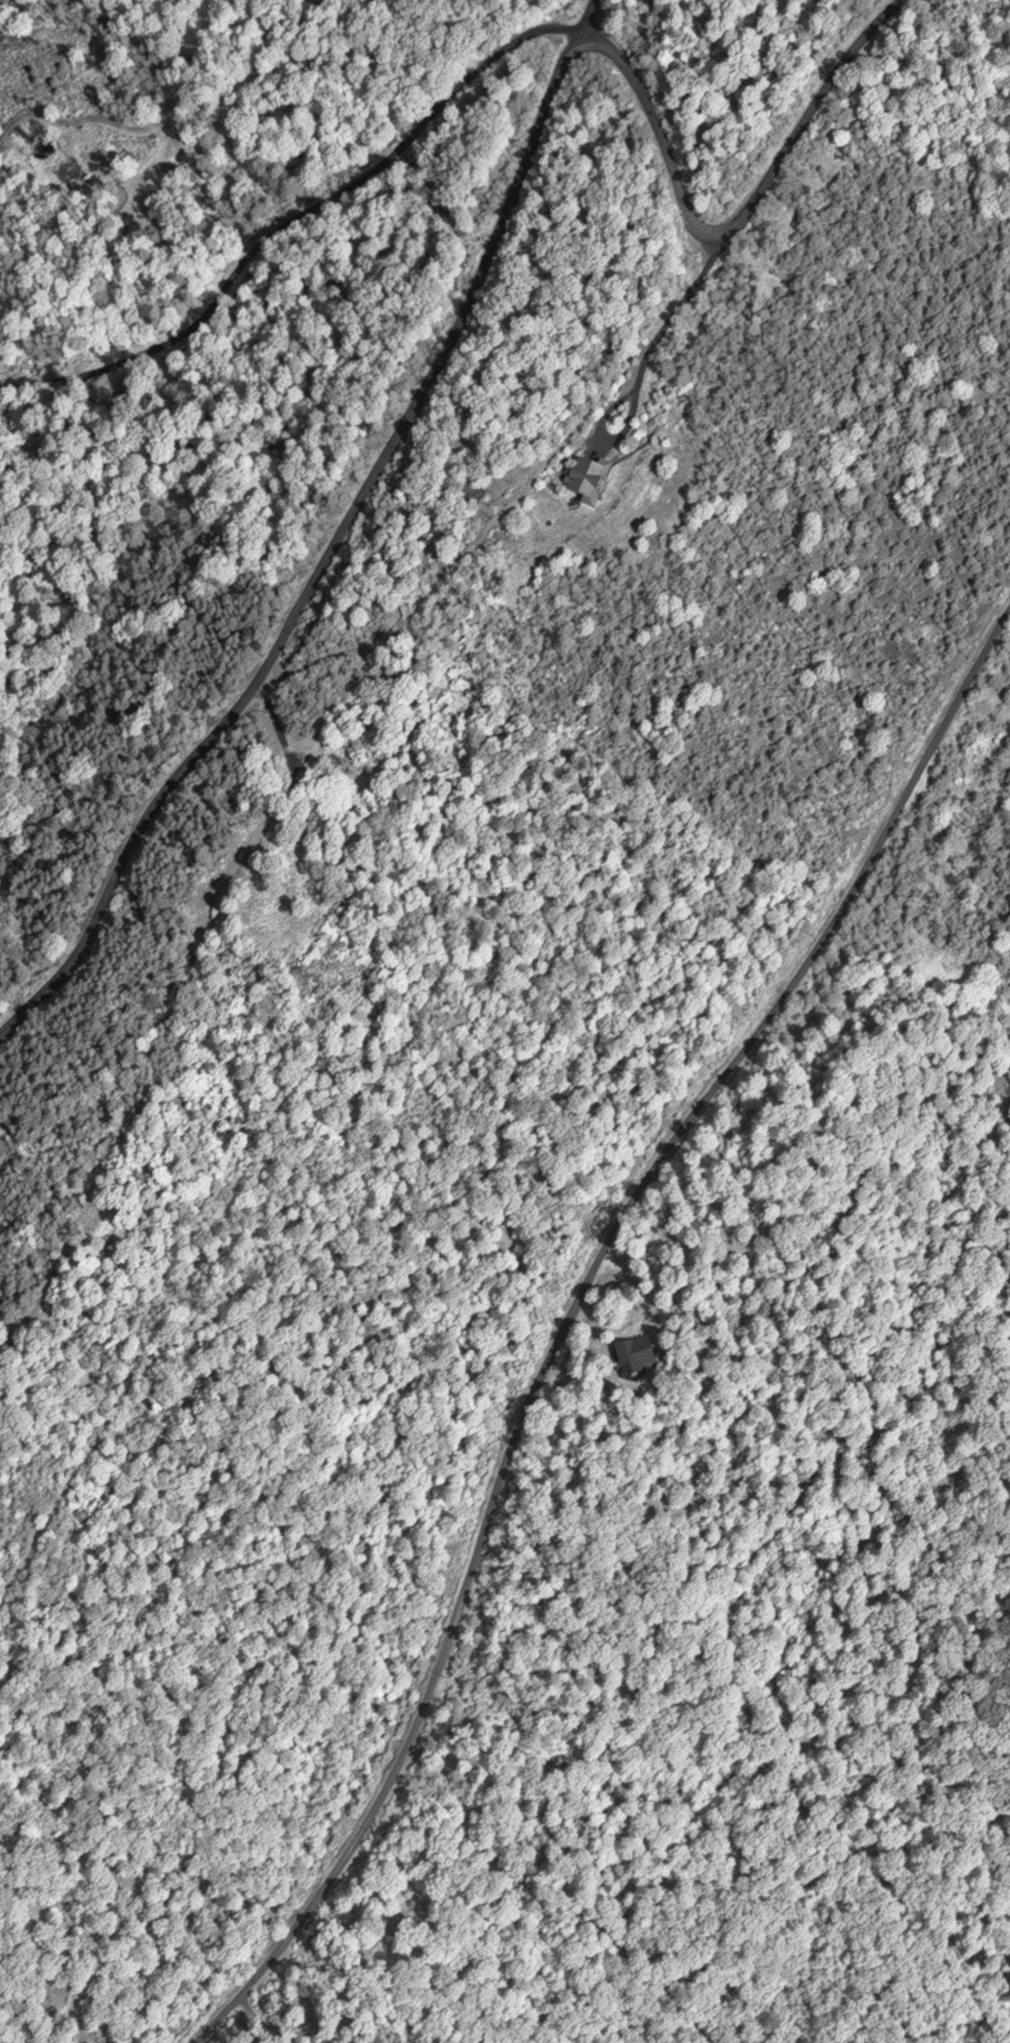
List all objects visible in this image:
road: (579, 15)
road: (821, 126)
road: (400, 138)
building: (589, 480)
road: (300, 537)
road: (998, 757)
building: (637, 1354)
road: (540, 1373)

